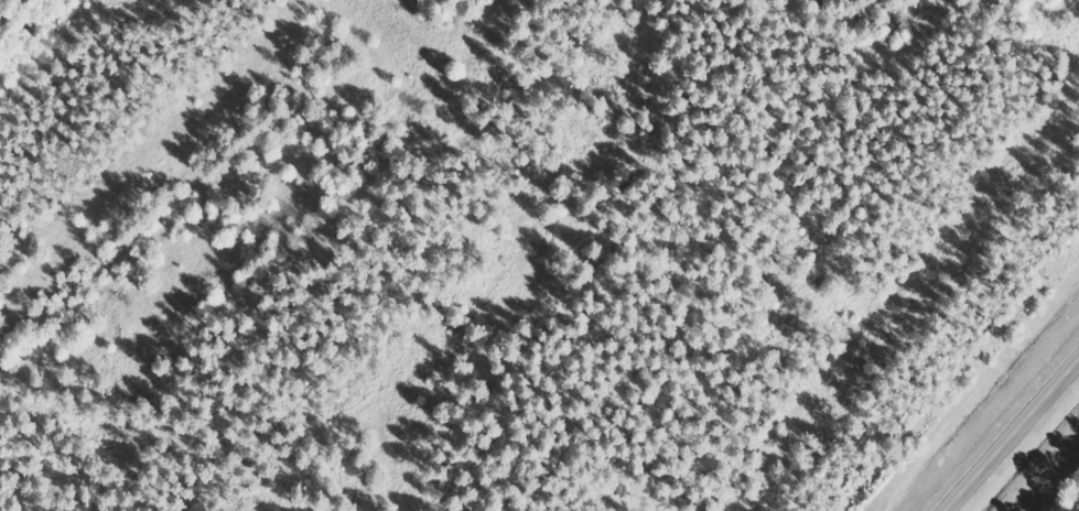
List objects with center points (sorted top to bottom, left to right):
road: (1011, 433)

